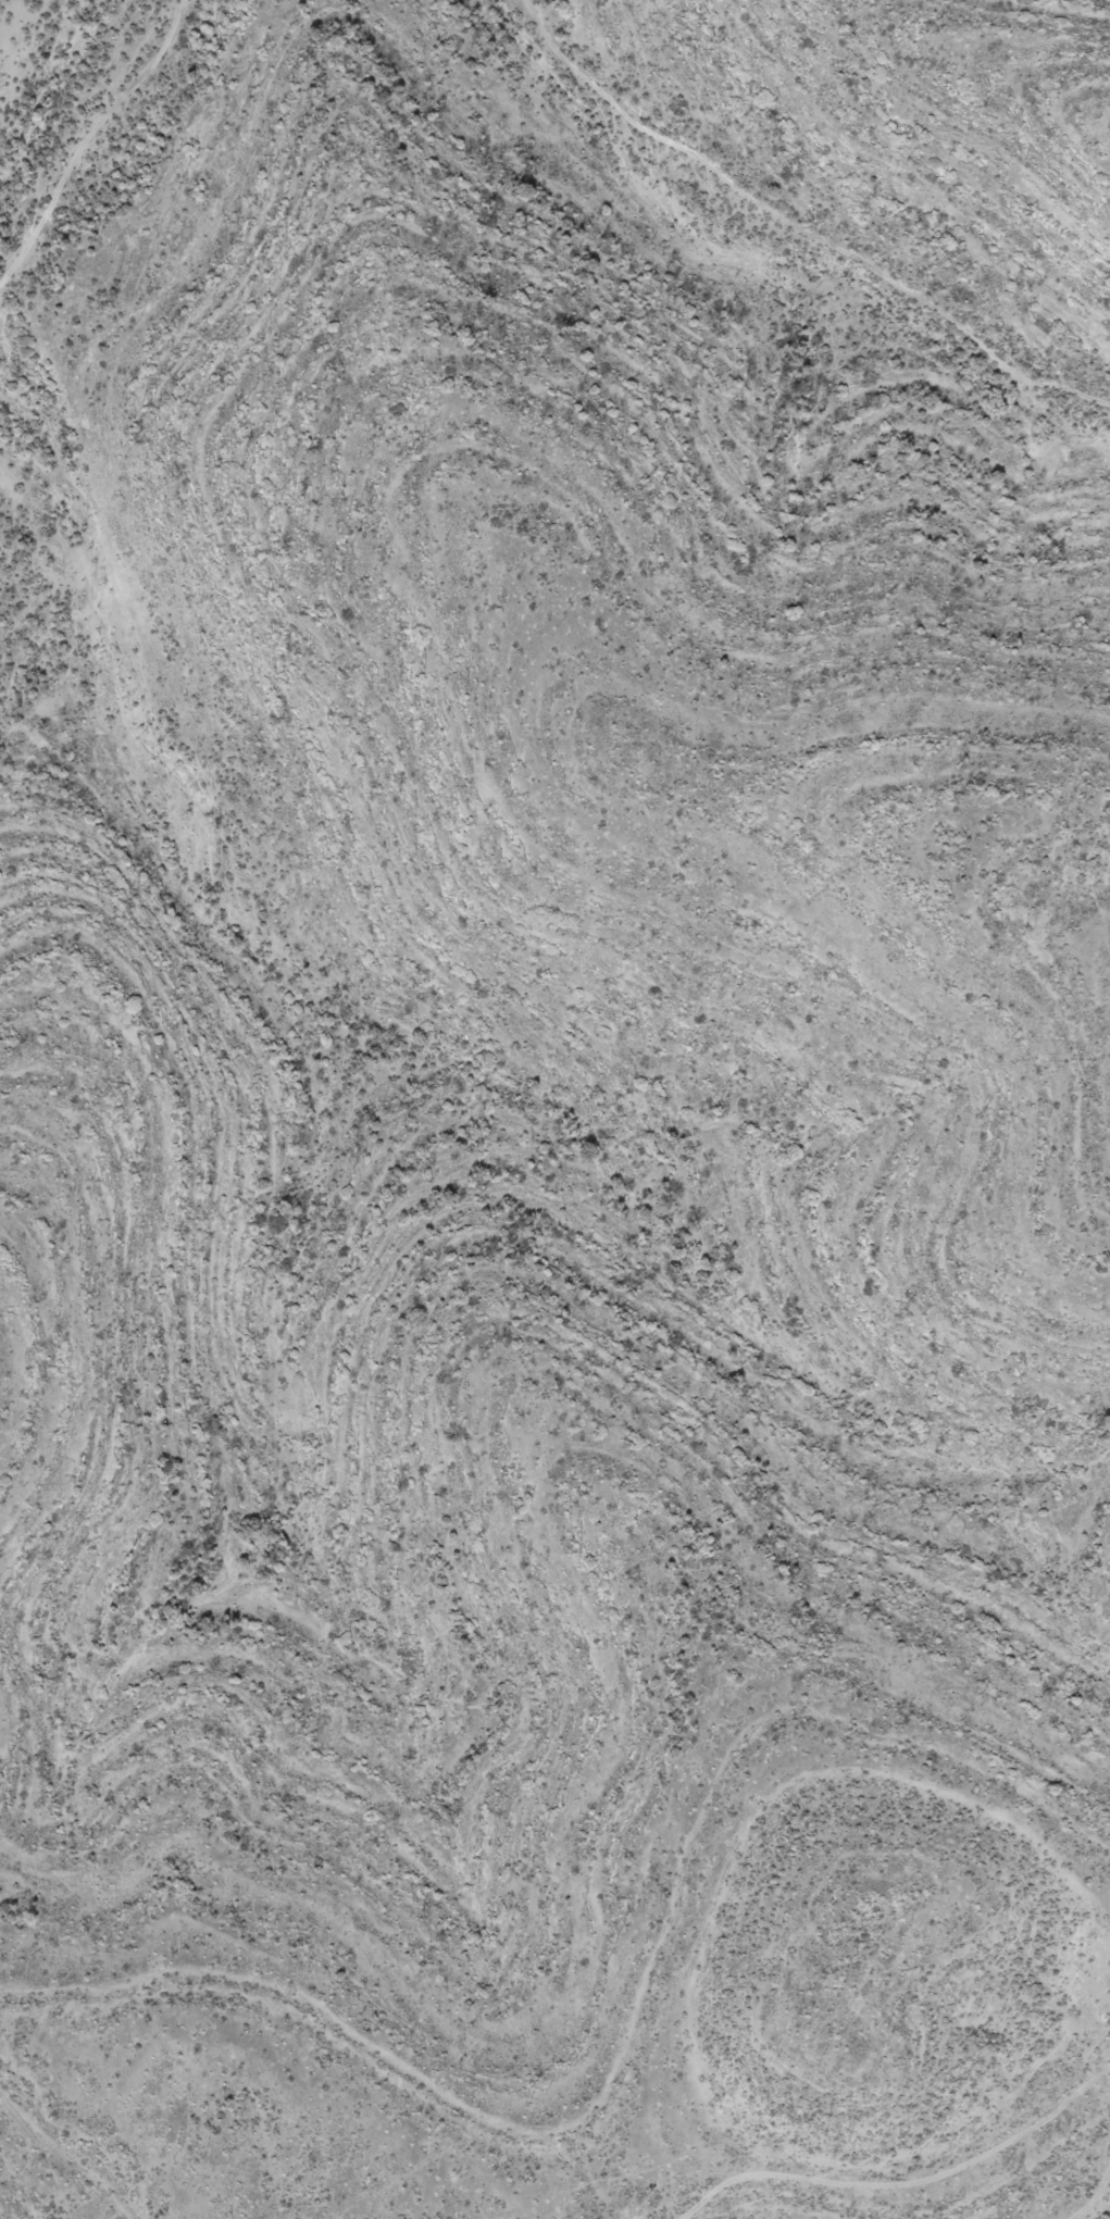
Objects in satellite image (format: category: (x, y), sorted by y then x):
road: (85, 138)
road: (801, 229)
road: (1100, 937)
road: (1098, 2194)

